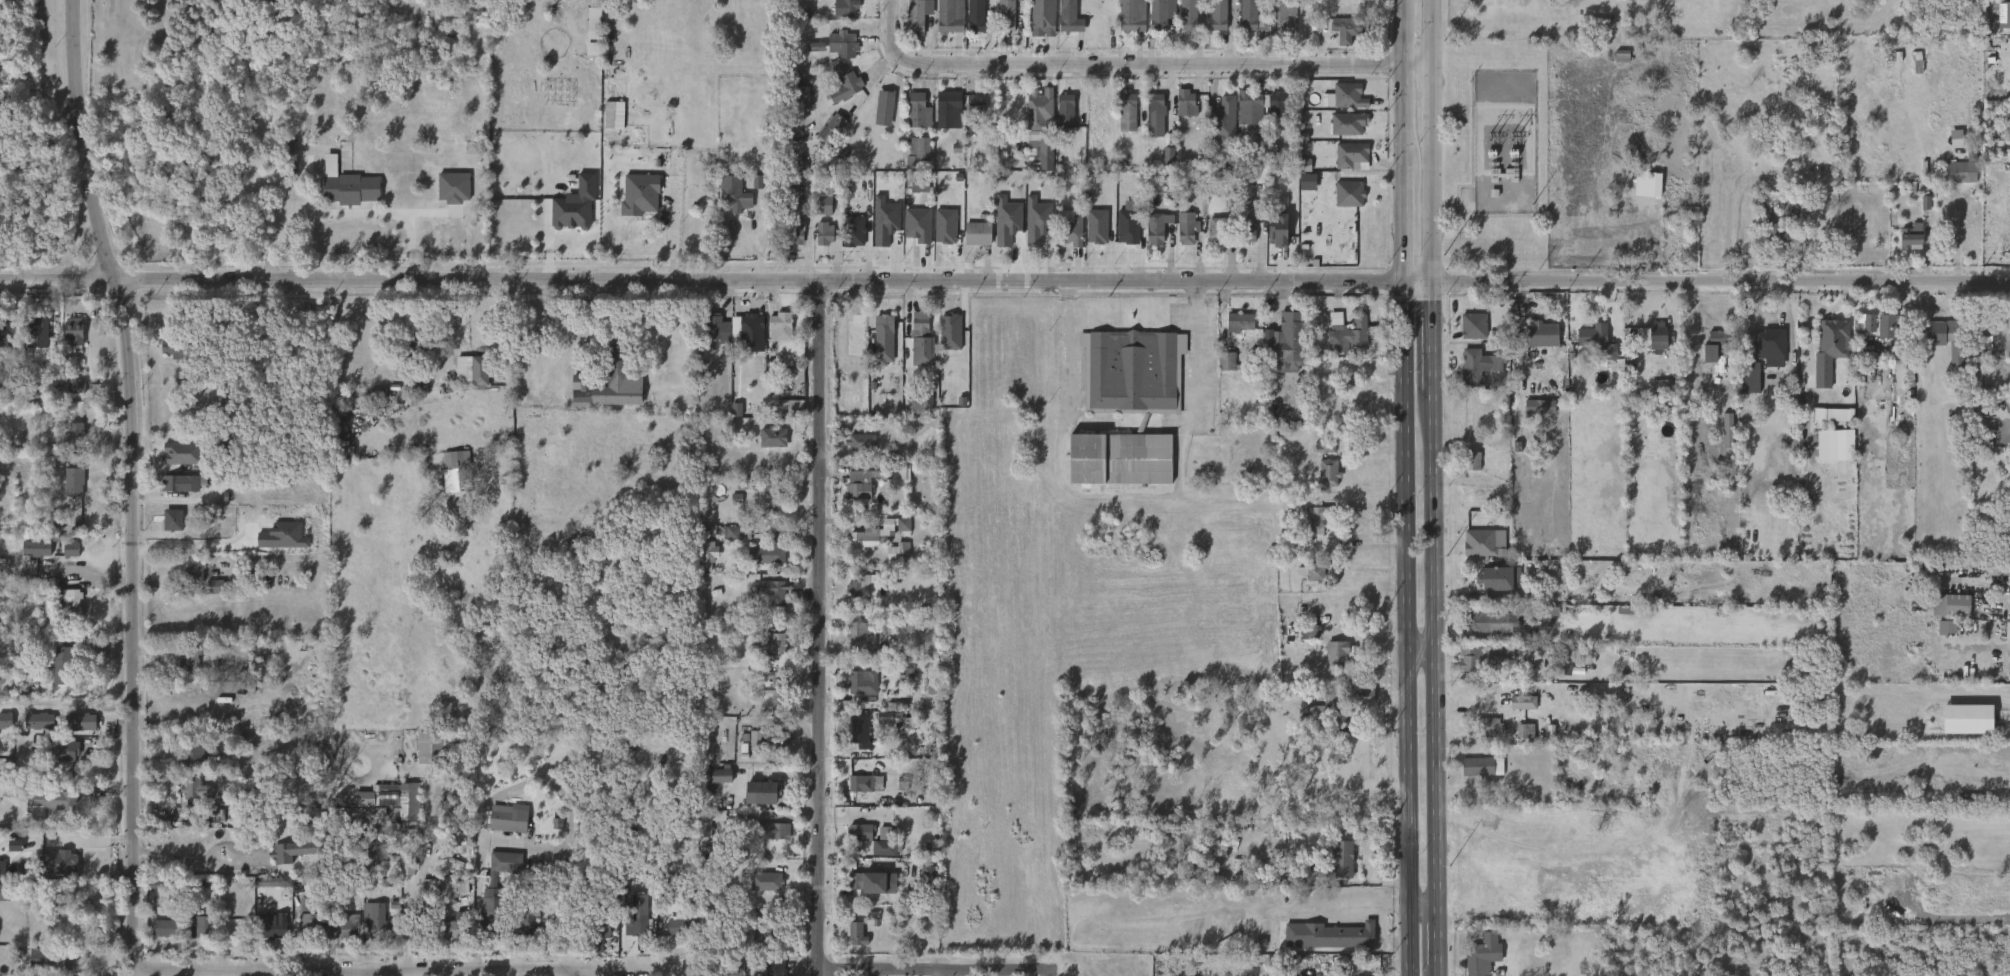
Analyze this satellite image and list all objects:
building: (843, 7)
building: (1281, 13)
building: (1218, 14)
building: (1132, 15)
building: (1188, 15)
building: (2004, 15)
building: (918, 16)
building: (950, 16)
building: (975, 16)
building: (1005, 16)
building: (1158, 16)
building: (1252, 16)
building: (1069, 17)
building: (1043, 18)
building: (1242, 20)
building: (1182, 24)
building: (1212, 24)
building: (1063, 25)
building: (1275, 25)
building: (1349, 29)
building: (1255, 33)
road: (1436, 34)
building: (1340, 40)
building: (587, 41)
building: (842, 46)
building: (811, 57)
road: (1138, 69)
building: (844, 85)
building: (839, 93)
building: (1349, 94)
building: (344, 97)
building: (801, 98)
road: (1436, 98)
building: (885, 103)
building: (1186, 103)
building: (1277, 104)
building: (1339, 106)
building: (1039, 107)
building: (1251, 109)
building: (917, 110)
building: (952, 110)
building: (1066, 110)
building: (1130, 111)
building: (1180, 113)
building: (969, 114)
building: (1155, 114)
building: (1271, 114)
building: (878, 118)
building: (943, 120)
building: (1059, 121)
building: (1121, 121)
building: (1222, 121)
building: (1348, 122)
building: (608, 125)
building: (1149, 125)
building: (835, 127)
building: (1342, 134)
building: (824, 136)
road: (85, 143)
power substation: (1504, 144)
building: (1949, 148)
building: (918, 149)
building: (1046, 153)
building: (1351, 153)
building: (912, 160)
building: (1032, 160)
building: (1345, 166)
building: (1963, 170)
building: (1954, 182)
building: (345, 184)
building: (752, 192)
building: (1638, 193)
building: (829, 194)
building: (634, 199)
building: (736, 199)
building: (1343, 204)
road: (1436, 208)
building: (818, 211)
building: (570, 215)
road: (341, 219)
building: (1157, 227)
building: (1187, 228)
building: (1069, 229)
building: (1218, 229)
building: (1246, 229)
building: (795, 231)
building: (823, 232)
building: (1036, 232)
building: (1129, 232)
building: (977, 233)
building: (1913, 235)
road: (666, 236)
building: (1091, 236)
building: (1774, 236)
building: (1151, 237)
building: (1180, 239)
building: (1272, 240)
building: (790, 241)
building: (848, 241)
building: (1208, 241)
building: (1244, 241)
building: (818, 244)
building: (972, 244)
building: (1906, 246)
road: (718, 282)
road: (1722, 286)
road: (1191, 291)
road: (1066, 292)
building: (1237, 322)
building: (883, 324)
building: (778, 325)
building: (1887, 325)
building: (751, 326)
building: (1472, 326)
building: (716, 328)
building: (71, 330)
building: (1943, 331)
building: (1234, 332)
building: (1859, 333)
building: (7, 334)
building: (38, 334)
building: (1539, 334)
building: (1349, 335)
building: (1467, 336)
building: (1657, 336)
building: (1881, 336)
building: (775, 337)
building: (711, 338)
building: (921, 338)
building: (1768, 338)
building: (1832, 339)
building: (1288, 340)
building: (1596, 340)
building: (69, 341)
building: (743, 342)
road: (1436, 342)
building: (182, 344)
building: (1651, 346)
building: (1708, 346)
building: (411, 348)
building: (878, 349)
building: (1762, 349)
building: (1940, 350)
building: (1590, 351)
building: (1228, 360)
building: (1695, 360)
building: (169, 361)
building: (616, 365)
building: (1479, 365)
building: (479, 370)
building: (1221, 371)
building: (1471, 376)
building: (465, 380)
building: (581, 384)
building: (72, 396)
building: (1654, 396)
building: (603, 397)
road: (1192, 397)
building: (921, 402)
building: (1128, 405)
building: (1540, 405)
building: (912, 413)
building: (1533, 416)
building: (782, 417)
building: (730, 419)
building: (1826, 424)
building: (773, 437)
building: (860, 441)
building: (71, 443)
building: (767, 447)
building: (855, 452)
building: (1828, 455)
building: (1318, 457)
building: (455, 460)
building: (1471, 460)
building: (175, 463)
building: (1467, 469)
building: (1328, 471)
building: (448, 479)
building: (71, 481)
building: (178, 482)
building: (864, 482)
building: (1322, 482)
road: (1401, 487)
building: (175, 493)
building: (772, 495)
road: (1144, 495)
building: (853, 496)
building: (766, 513)
building: (1318, 518)
building: (170, 519)
building: (167, 530)
building: (1311, 530)
building: (877, 533)
building: (897, 534)
building: (727, 543)
building: (864, 546)
building: (34, 547)
building: (898, 551)
building: (1478, 552)
building: (768, 555)
building: (31, 558)
building: (66, 559)
building: (893, 561)
building: (761, 563)
building: (196, 568)
building: (1998, 568)
building: (1316, 571)
building: (1500, 578)
building: (189, 579)
building: (1305, 582)
building: (1547, 586)
building: (858, 588)
building: (1493, 589)
building: (773, 591)
building: (210, 596)
building: (767, 604)
building: (1949, 604)
building: (68, 607)
building: (1537, 610)
building: (1941, 614)
building: (1485, 621)
building: (909, 622)
road: (136, 628)
road: (822, 628)
building: (1480, 633)
building: (861, 637)
building: (1940, 637)
building: (2004, 640)
building: (774, 645)
building: (856, 649)
road: (1437, 650)
building: (1335, 653)
road: (1420, 655)
building: (1482, 655)
building: (192, 659)
building: (58, 662)
building: (1330, 664)
building: (1472, 667)
building: (1567, 667)
building: (184, 671)
building: (862, 682)
building: (778, 690)
building: (857, 692)
road: (67, 701)
building: (1522, 702)
building: (768, 703)
building: (1517, 712)
building: (1333, 717)
building: (37, 720)
building: (80, 721)
building: (1487, 726)
building: (882, 727)
building: (3, 730)
building: (1528, 730)
building: (33, 731)
building: (76, 731)
building: (858, 731)
building: (1484, 736)
building: (768, 739)
building: (1522, 740)
building: (769, 749)
building: (66, 750)
building: (193, 754)
building: (63, 761)
building: (1480, 766)
building: (186, 767)
building: (1473, 777)
building: (864, 783)
building: (714, 785)
building: (194, 789)
building: (761, 792)
building: (859, 793)
building: (56, 799)
building: (191, 799)
building: (757, 802)
building: (47, 810)
building: (391, 813)
building: (209, 817)
building: (508, 818)
building: (706, 825)
building: (211, 826)
building: (773, 830)
building: (861, 831)
road: (66, 835)
building: (281, 839)
building: (768, 840)
building: (853, 842)
building: (731, 847)
building: (883, 847)
building: (1342, 859)
building: (288, 860)
building: (60, 861)
building: (505, 863)
building: (1295, 865)
road: (212, 866)
building: (54, 872)
building: (500, 872)
building: (391, 876)
building: (0, 878)
building: (17, 879)
building: (773, 880)
building: (860, 881)
building: (267, 891)
building: (862, 892)
building: (422, 894)
road: (1357, 901)
building: (1, 902)
road: (478, 903)
road: (1421, 906)
building: (490, 911)
building: (419, 920)
building: (375, 922)
building: (530, 924)
building: (272, 925)
building: (309, 926)
building: (345, 926)
building: (867, 926)
building: (635, 927)
building: (678, 927)
building: (164, 928)
building: (596, 928)
building: (202, 929)
building: (454, 930)
building: (764, 930)
building: (856, 934)
building: (1322, 935)
building: (672, 937)
building: (158, 938)
building: (445, 939)
road: (1439, 941)
building: (758, 944)
building: (851, 944)
building: (1478, 957)
building: (65, 960)
building: (773, 967)
road: (414, 968)
building: (55, 969)
road: (933, 970)
road: (578, 971)
road: (354, 972)

